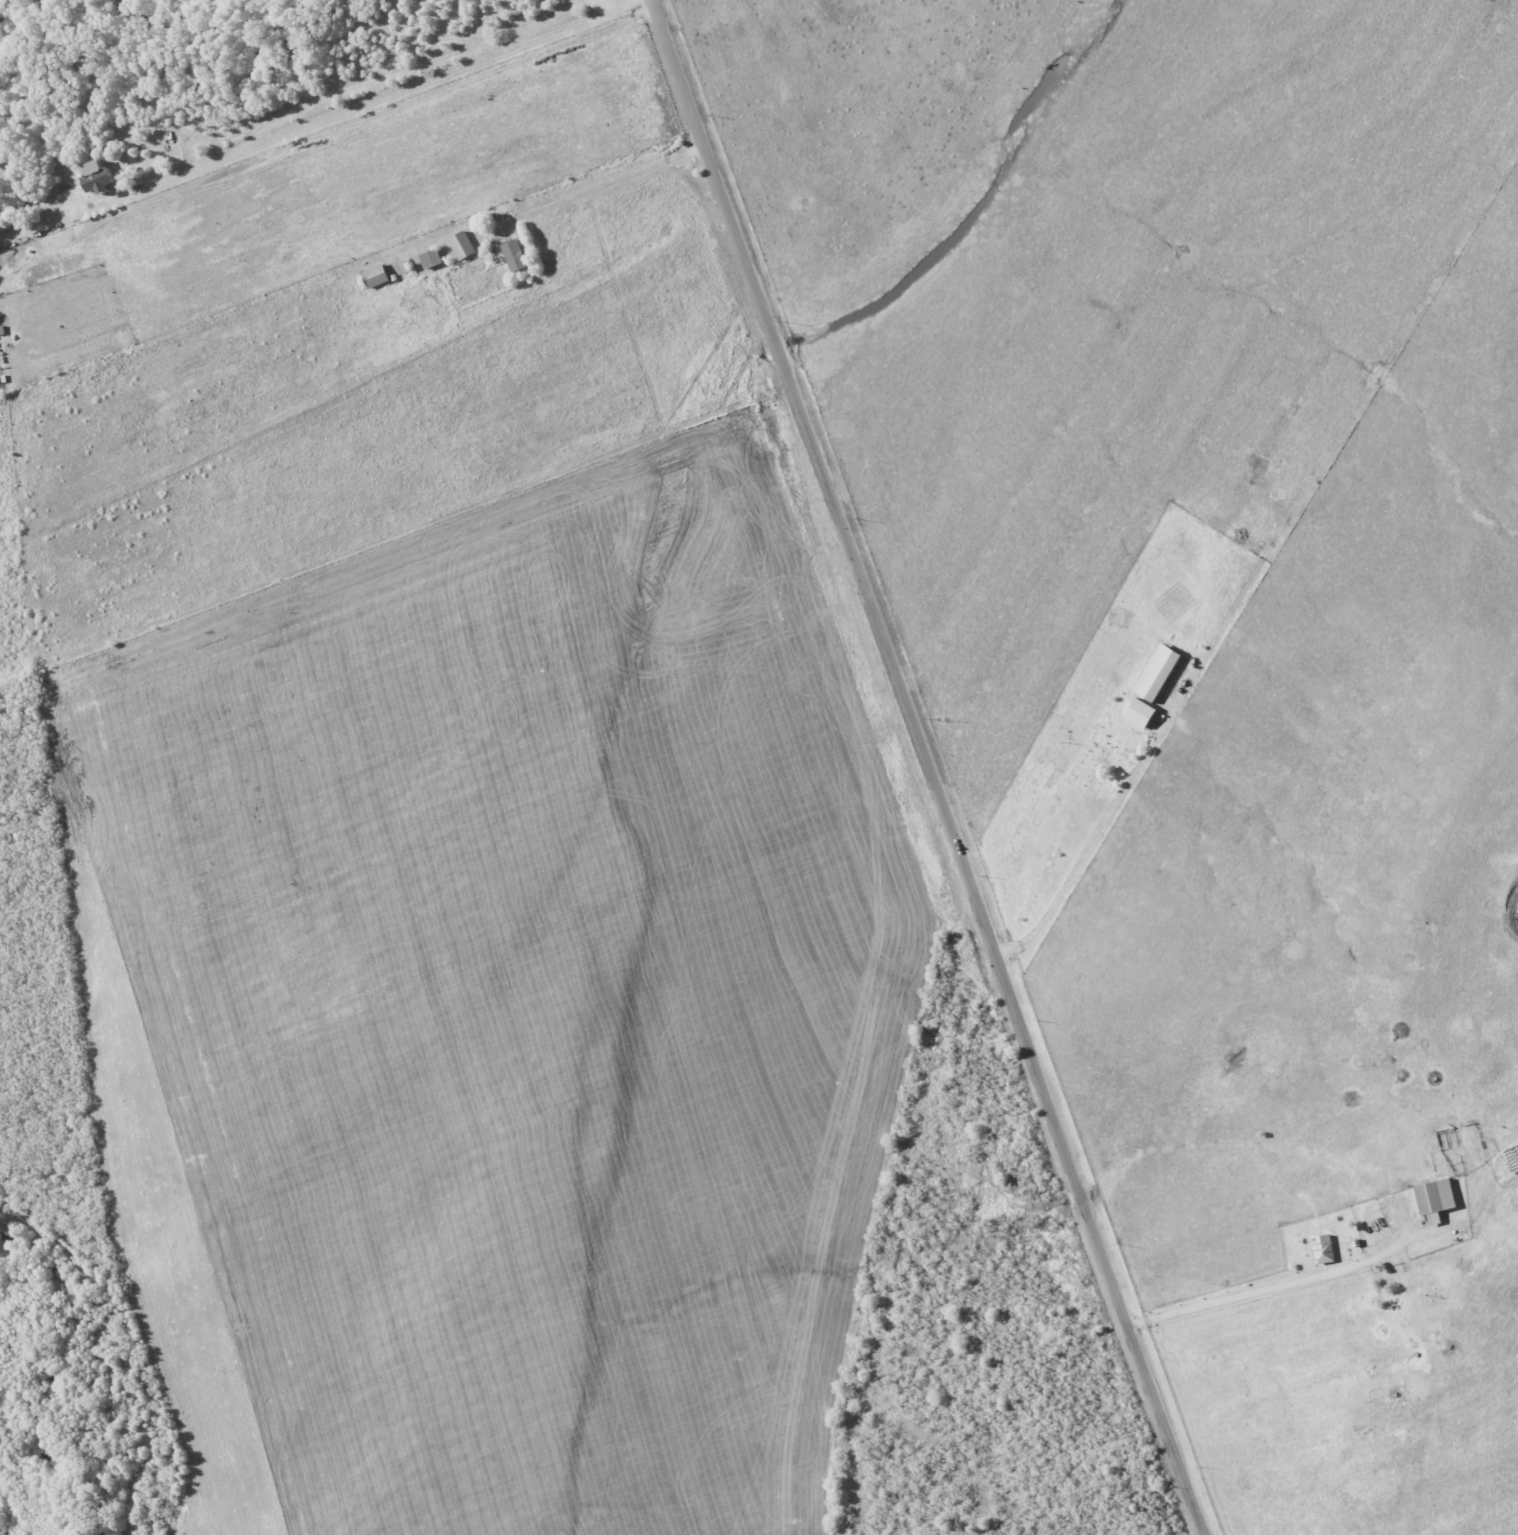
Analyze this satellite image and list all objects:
building: (100, 176)
road: (611, 192)
building: (463, 244)
building: (515, 255)
building: (431, 258)
building: (376, 275)
building: (1157, 672)
building: (1142, 712)
road: (930, 766)
road: (1091, 840)
building: (1436, 1199)
building: (1324, 1248)
road: (1240, 1295)

